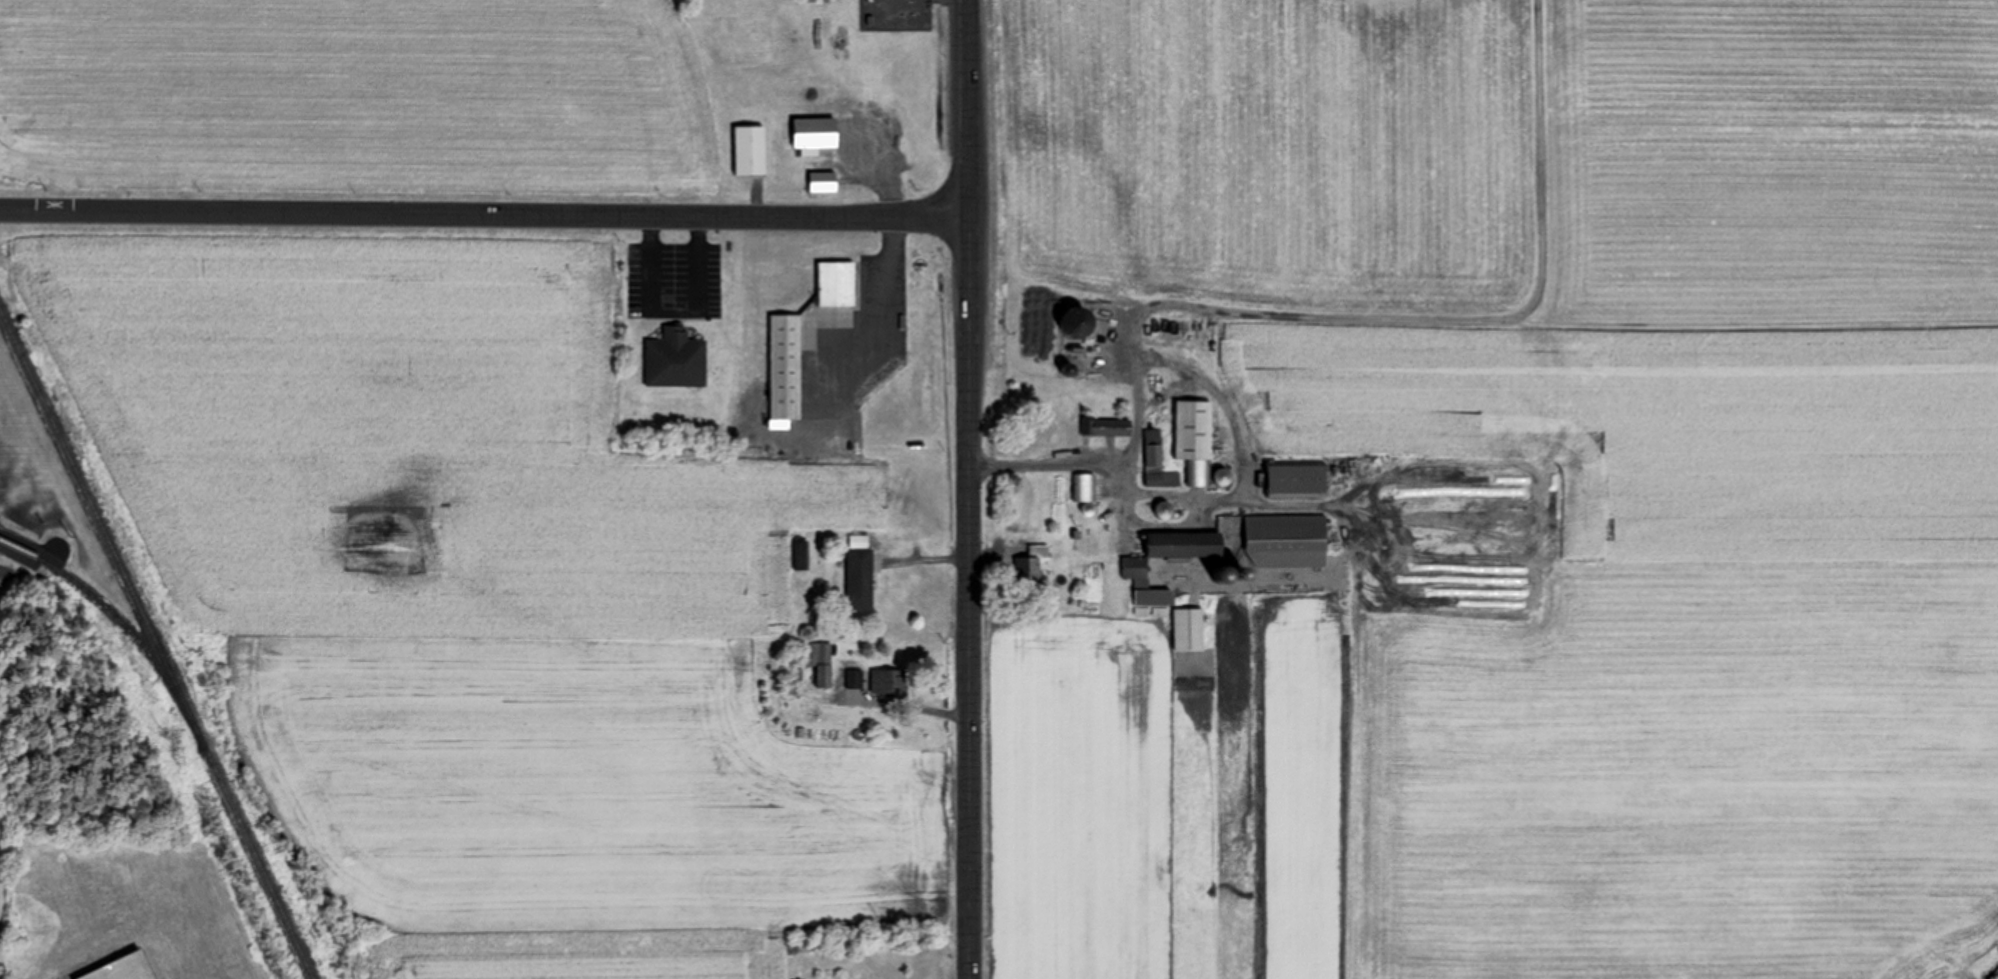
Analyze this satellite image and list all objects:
crop: (356, 99)
road: (970, 108)
building: (815, 134)
building: (750, 150)
building: (823, 181)
road: (485, 214)
building: (838, 284)
road: (970, 309)
road: (671, 313)
building: (676, 360)
building: (786, 367)
building: (1108, 427)
building: (1058, 432)
building: (1196, 439)
building: (1158, 462)
building: (1297, 480)
building: (1085, 487)
building: (1166, 510)
building: (1245, 543)
building: (802, 555)
building: (1032, 564)
building: (860, 573)
building: (1155, 597)
railway: (123, 624)
building: (1189, 629)
railway: (152, 642)
building: (822, 663)
building: (855, 679)
building: (890, 683)
road: (969, 690)
park: (4, 881)
building: (124, 969)

